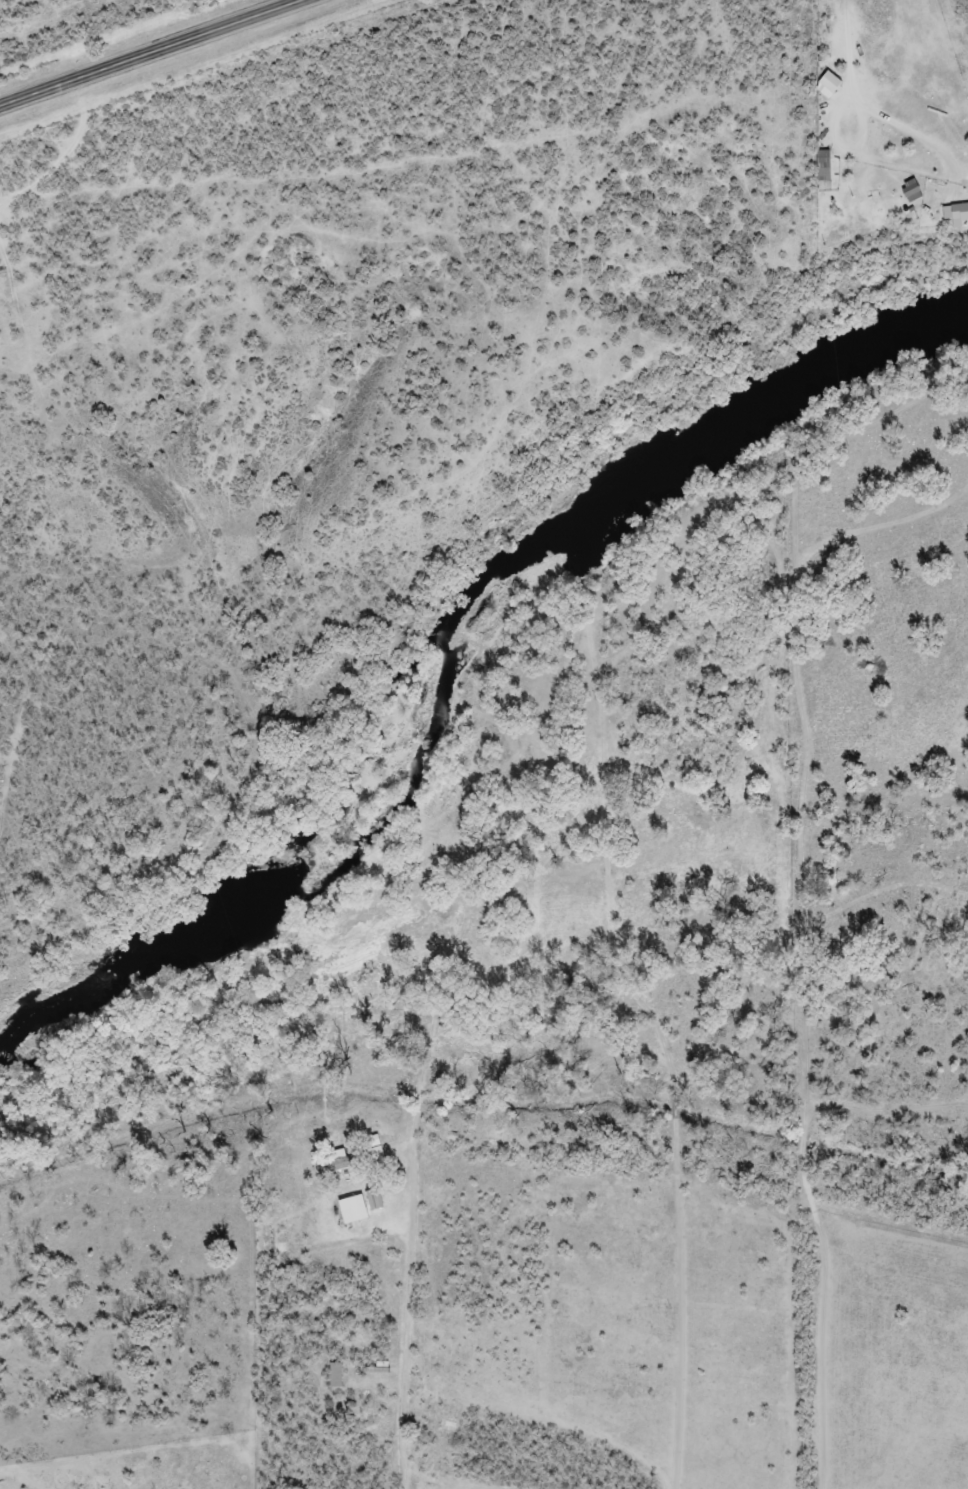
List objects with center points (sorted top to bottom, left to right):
road: (151, 52)
building: (835, 81)
road: (64, 148)
building: (826, 164)
building: (915, 189)
building: (963, 210)
river: (454, 652)
building: (356, 1158)
building: (362, 1205)
road: (435, 1311)
building: (337, 1374)

